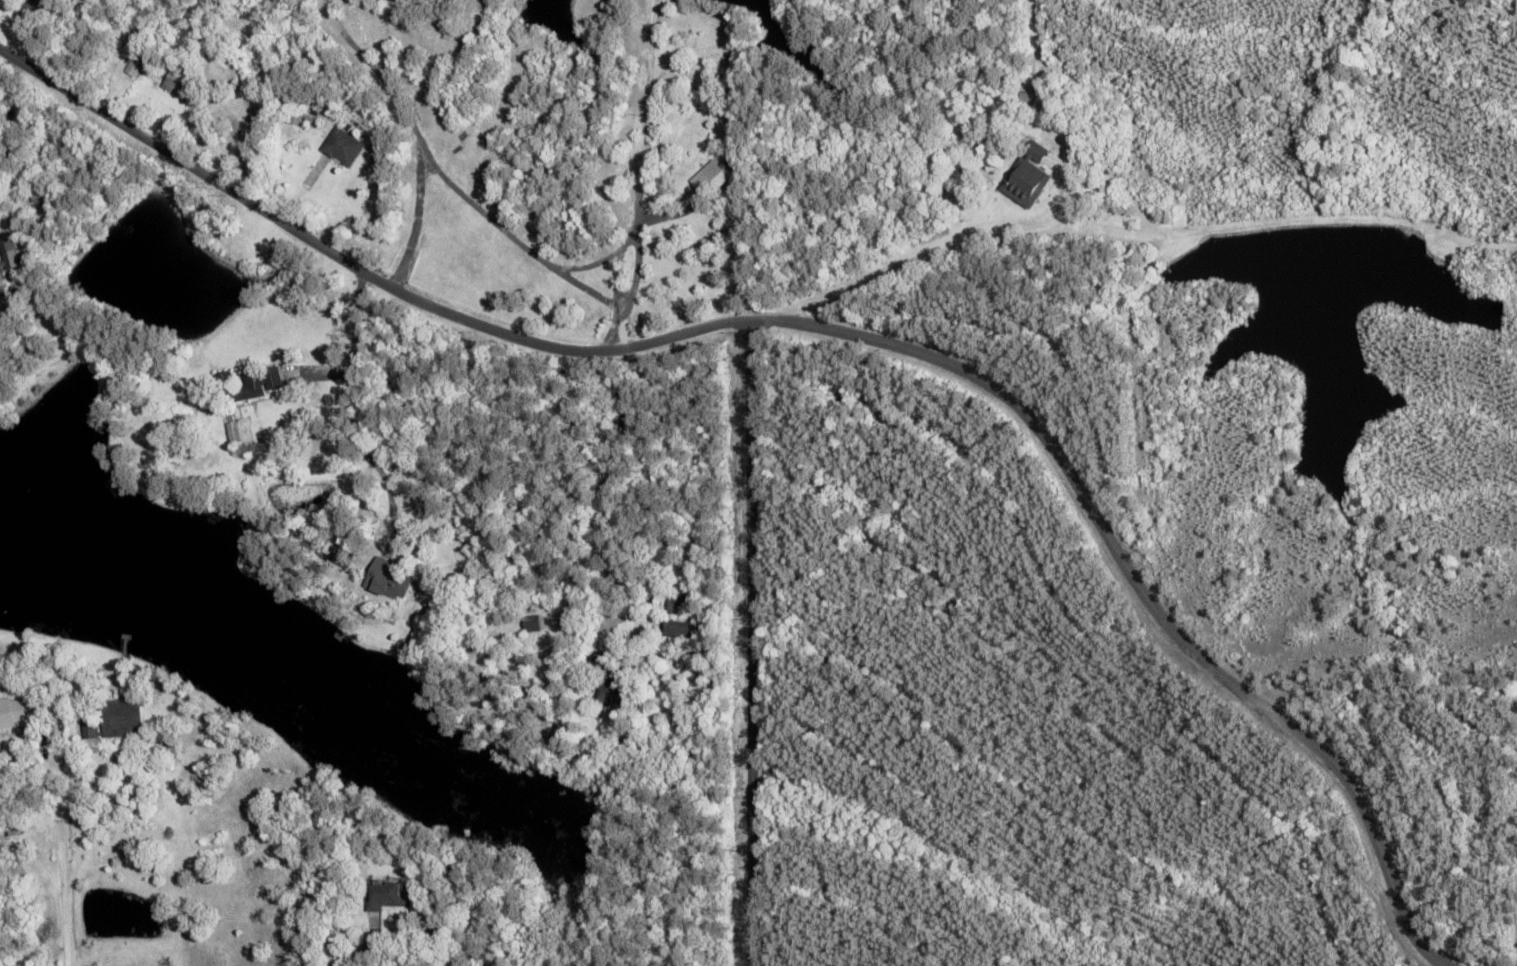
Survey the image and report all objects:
building: (30, 8)
building: (179, 84)
building: (341, 146)
building: (45, 147)
building: (1027, 175)
building: (712, 176)
building: (42, 192)
road: (891, 210)
building: (359, 234)
building: (8, 255)
road: (700, 295)
building: (249, 384)
building: (389, 579)
building: (677, 602)
road: (747, 627)
building: (678, 628)
building: (613, 684)
building: (13, 711)
building: (123, 717)
building: (91, 729)
building: (387, 894)
building: (437, 926)
road: (63, 928)
road: (1495, 957)

